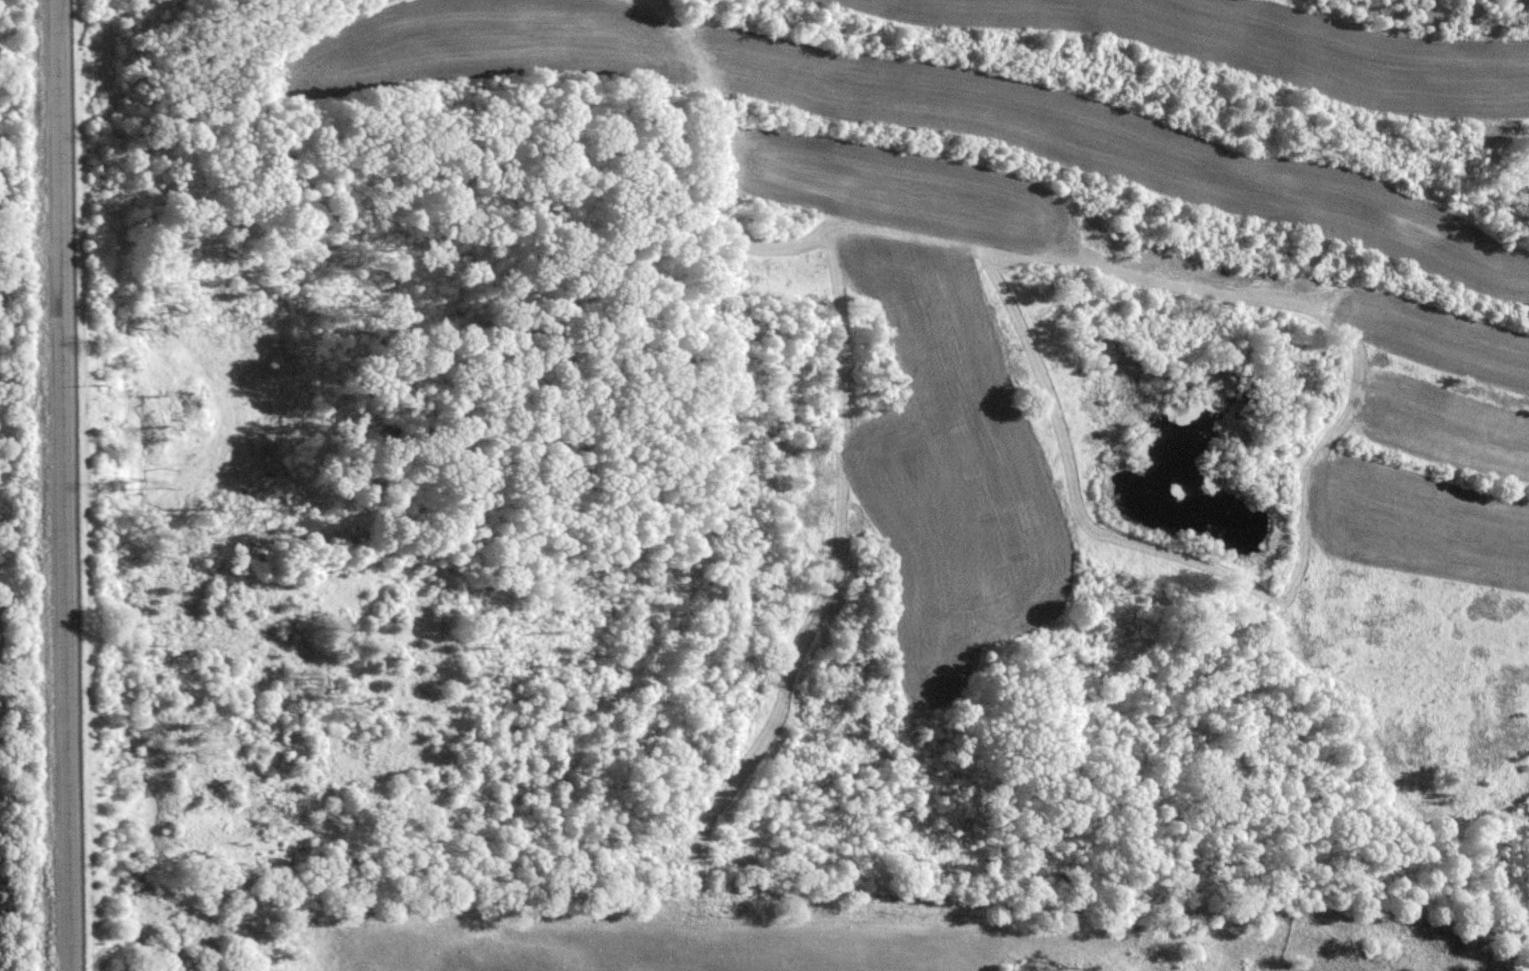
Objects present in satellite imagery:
road: (66, 485)

